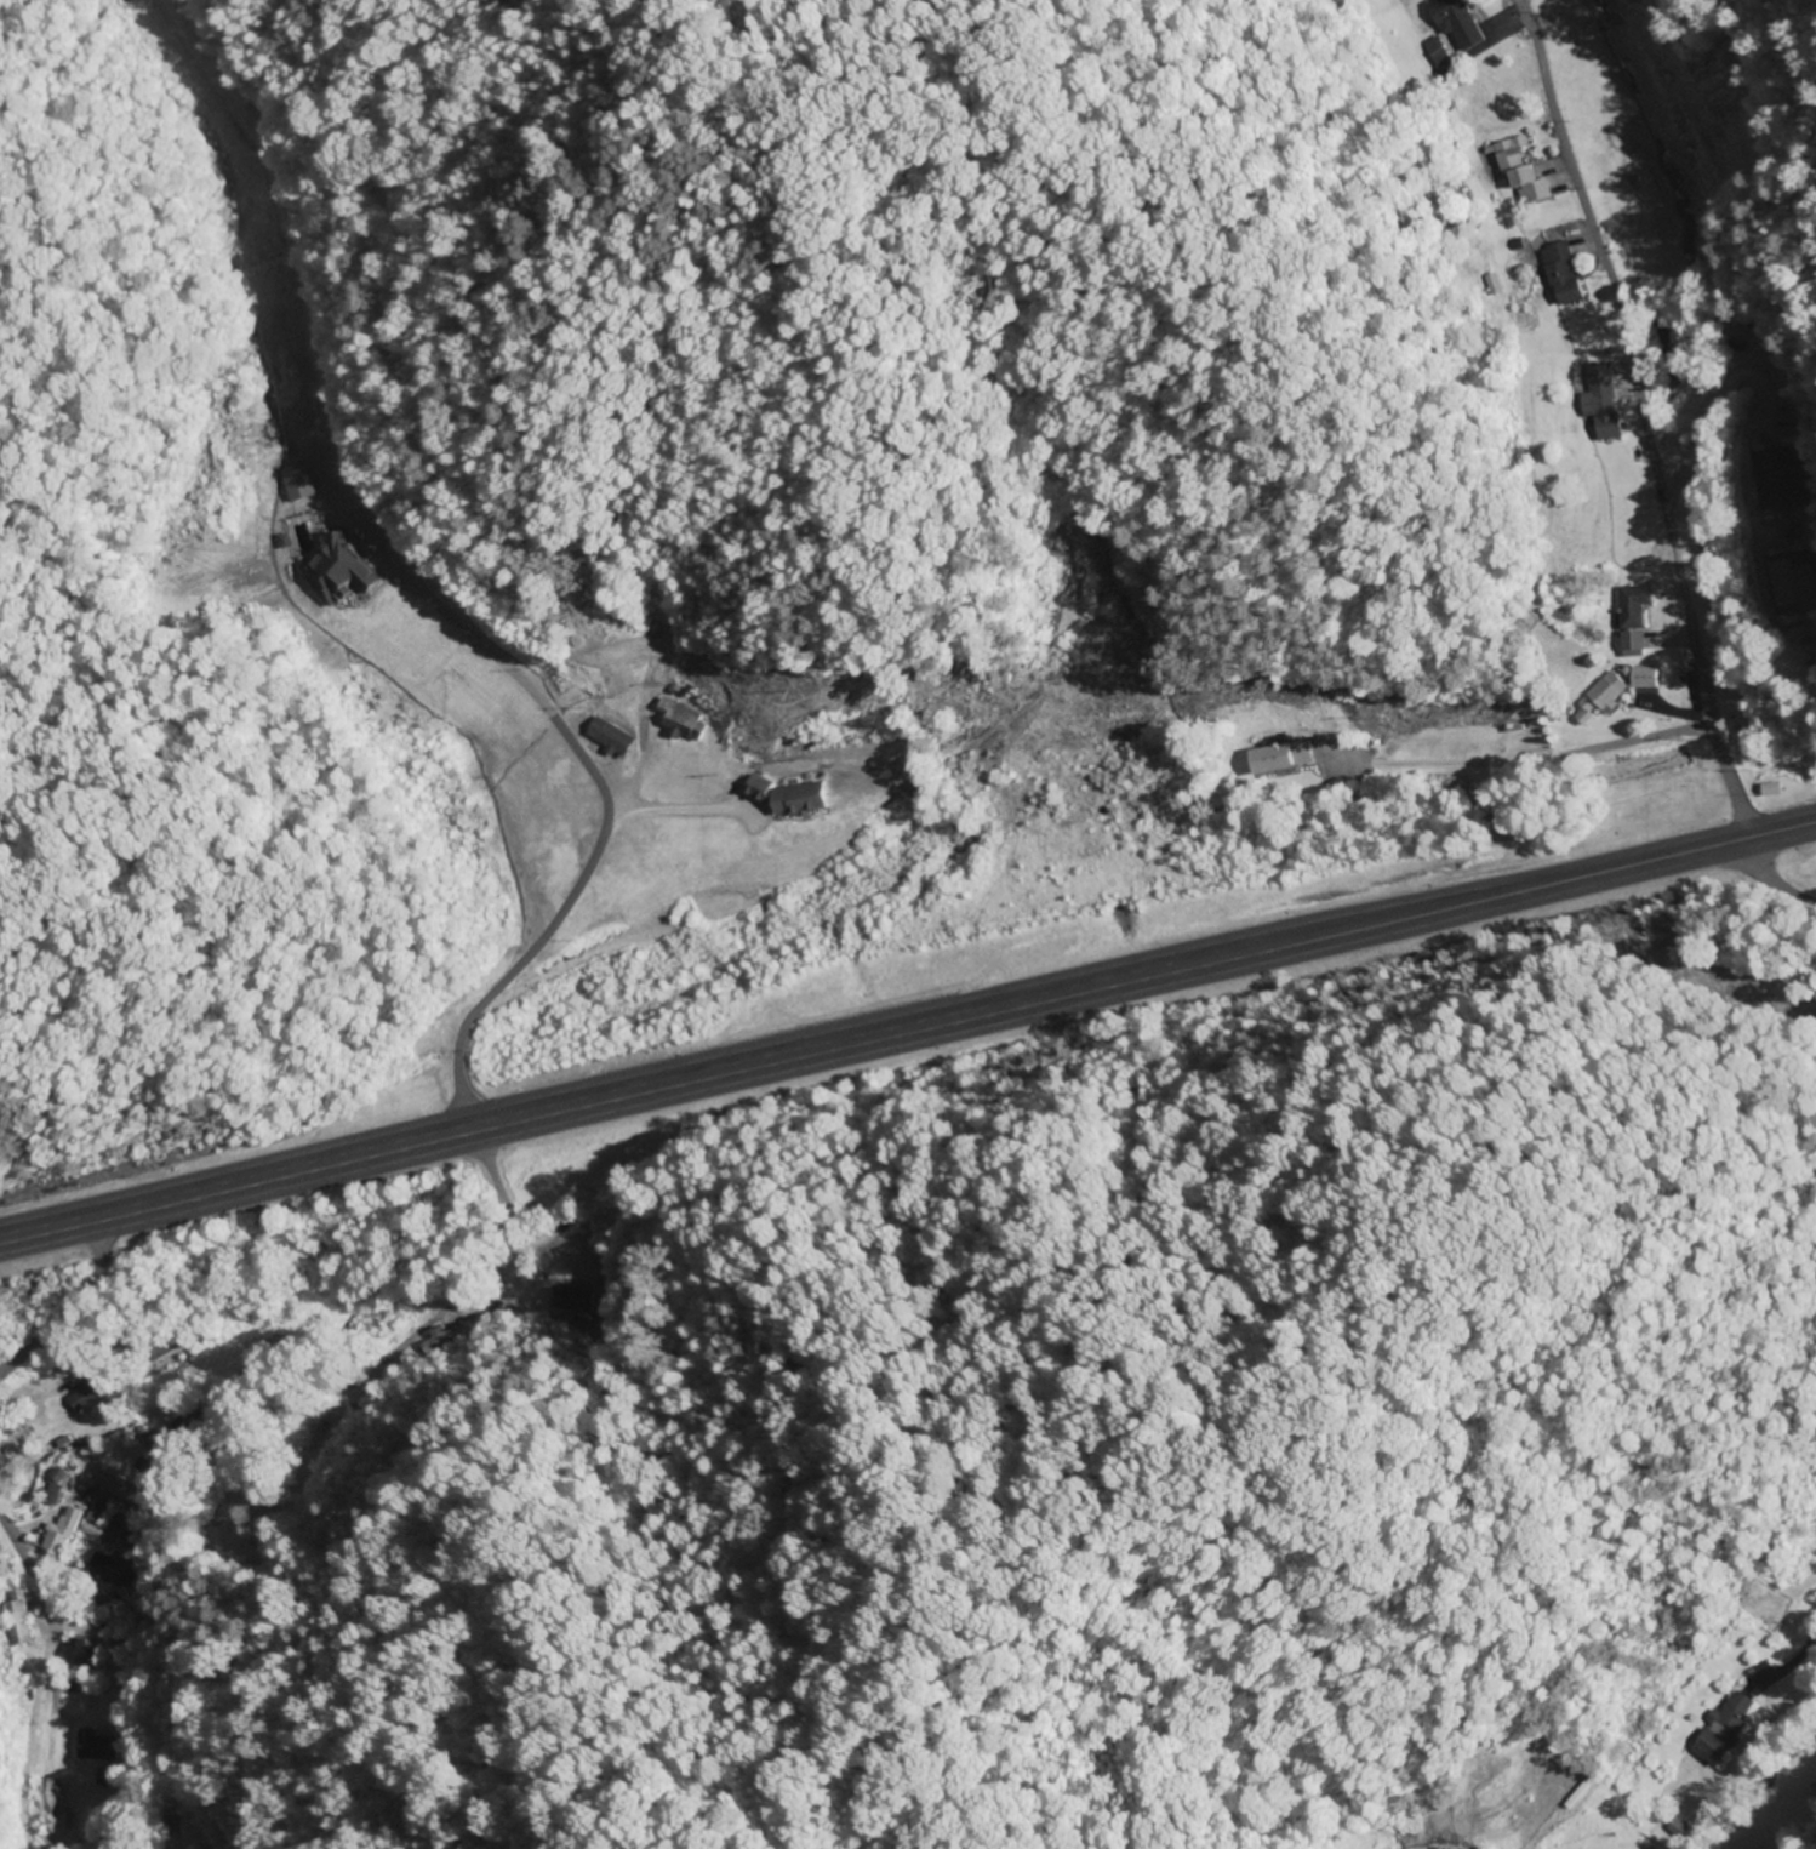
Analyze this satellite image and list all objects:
building: (1460, 24)
building: (1527, 173)
building: (1569, 281)
building: (1600, 403)
building: (296, 409)
road: (1639, 420)
building: (1780, 478)
building: (1795, 582)
building: (1628, 617)
building: (1639, 678)
building: (1592, 701)
building: (676, 719)
building: (604, 737)
road: (1540, 755)
building: (1279, 757)
building: (1769, 789)
building: (798, 799)
road: (1771, 889)
road: (907, 1038)
road: (487, 1142)
building: (571, 1280)
road: (507, 1290)
road: (75, 1316)
building: (445, 1335)
building: (156, 1343)
building: (80, 1392)
building: (179, 1423)
building: (115, 1490)
building: (46, 1493)
building: (53, 1533)
road: (5, 1545)
building: (122, 1548)
park: (1764, 1598)
building: (11, 1617)
building: (1725, 1728)
building: (90, 1747)

